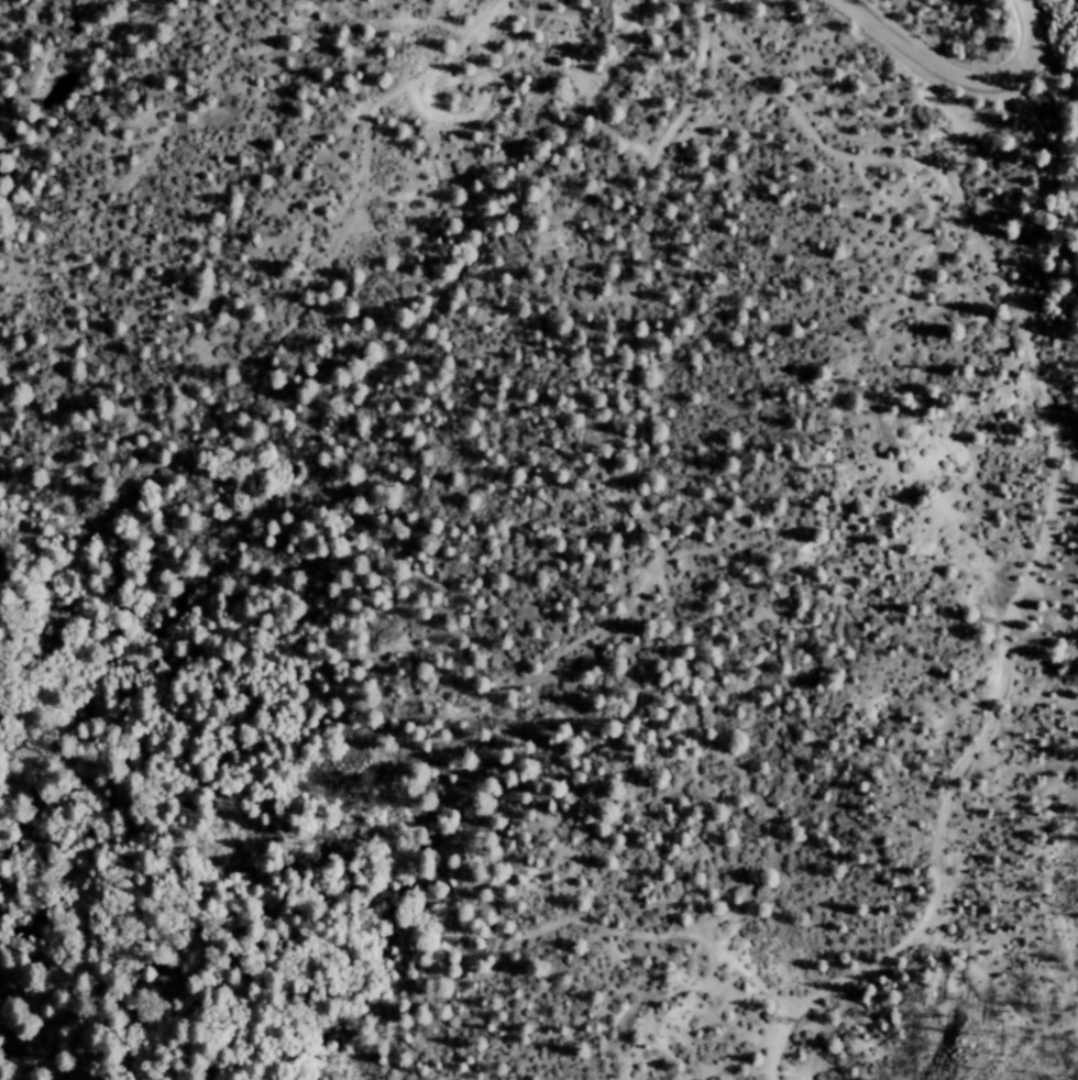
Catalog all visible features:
road: (964, 73)

